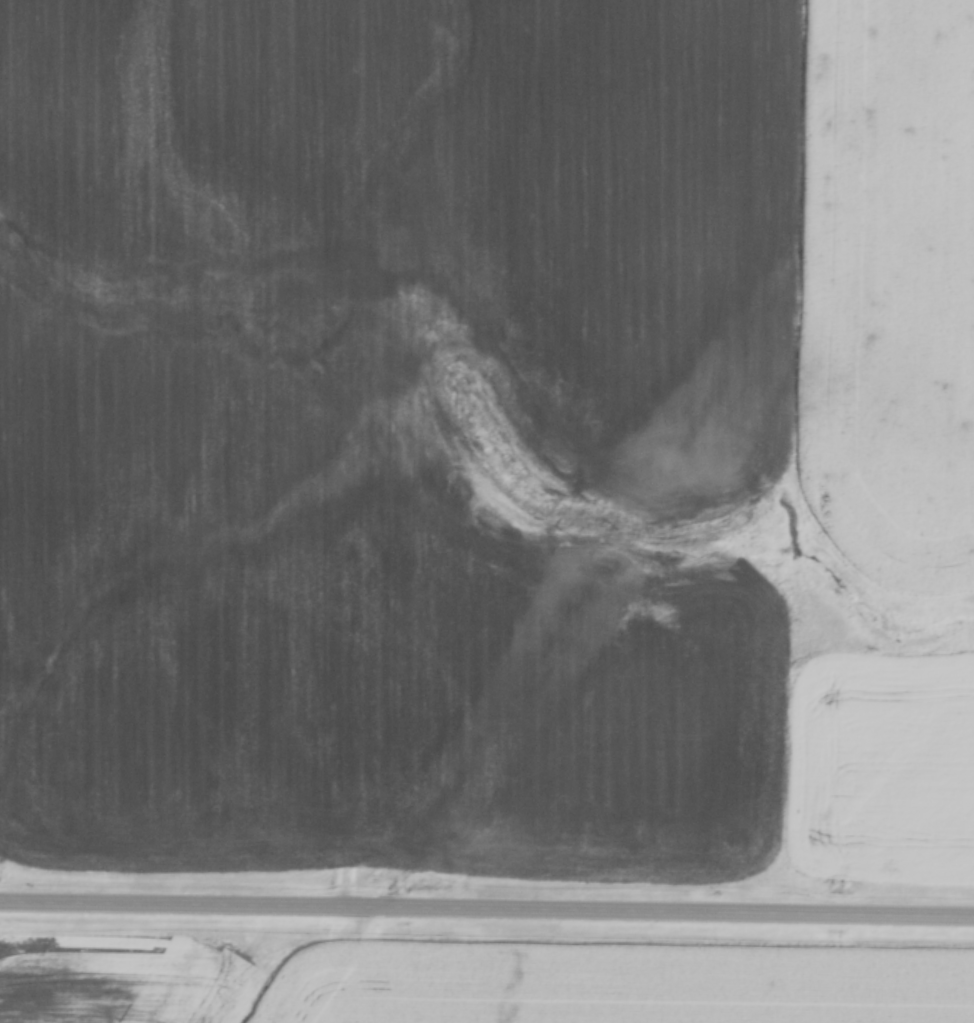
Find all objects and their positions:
road: (487, 917)

